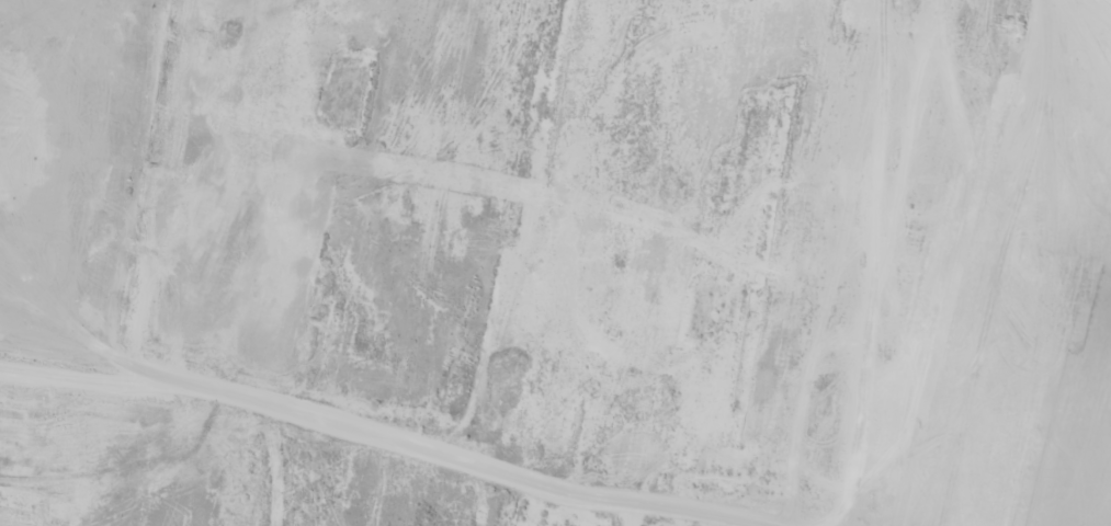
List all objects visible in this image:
road: (900, 151)

